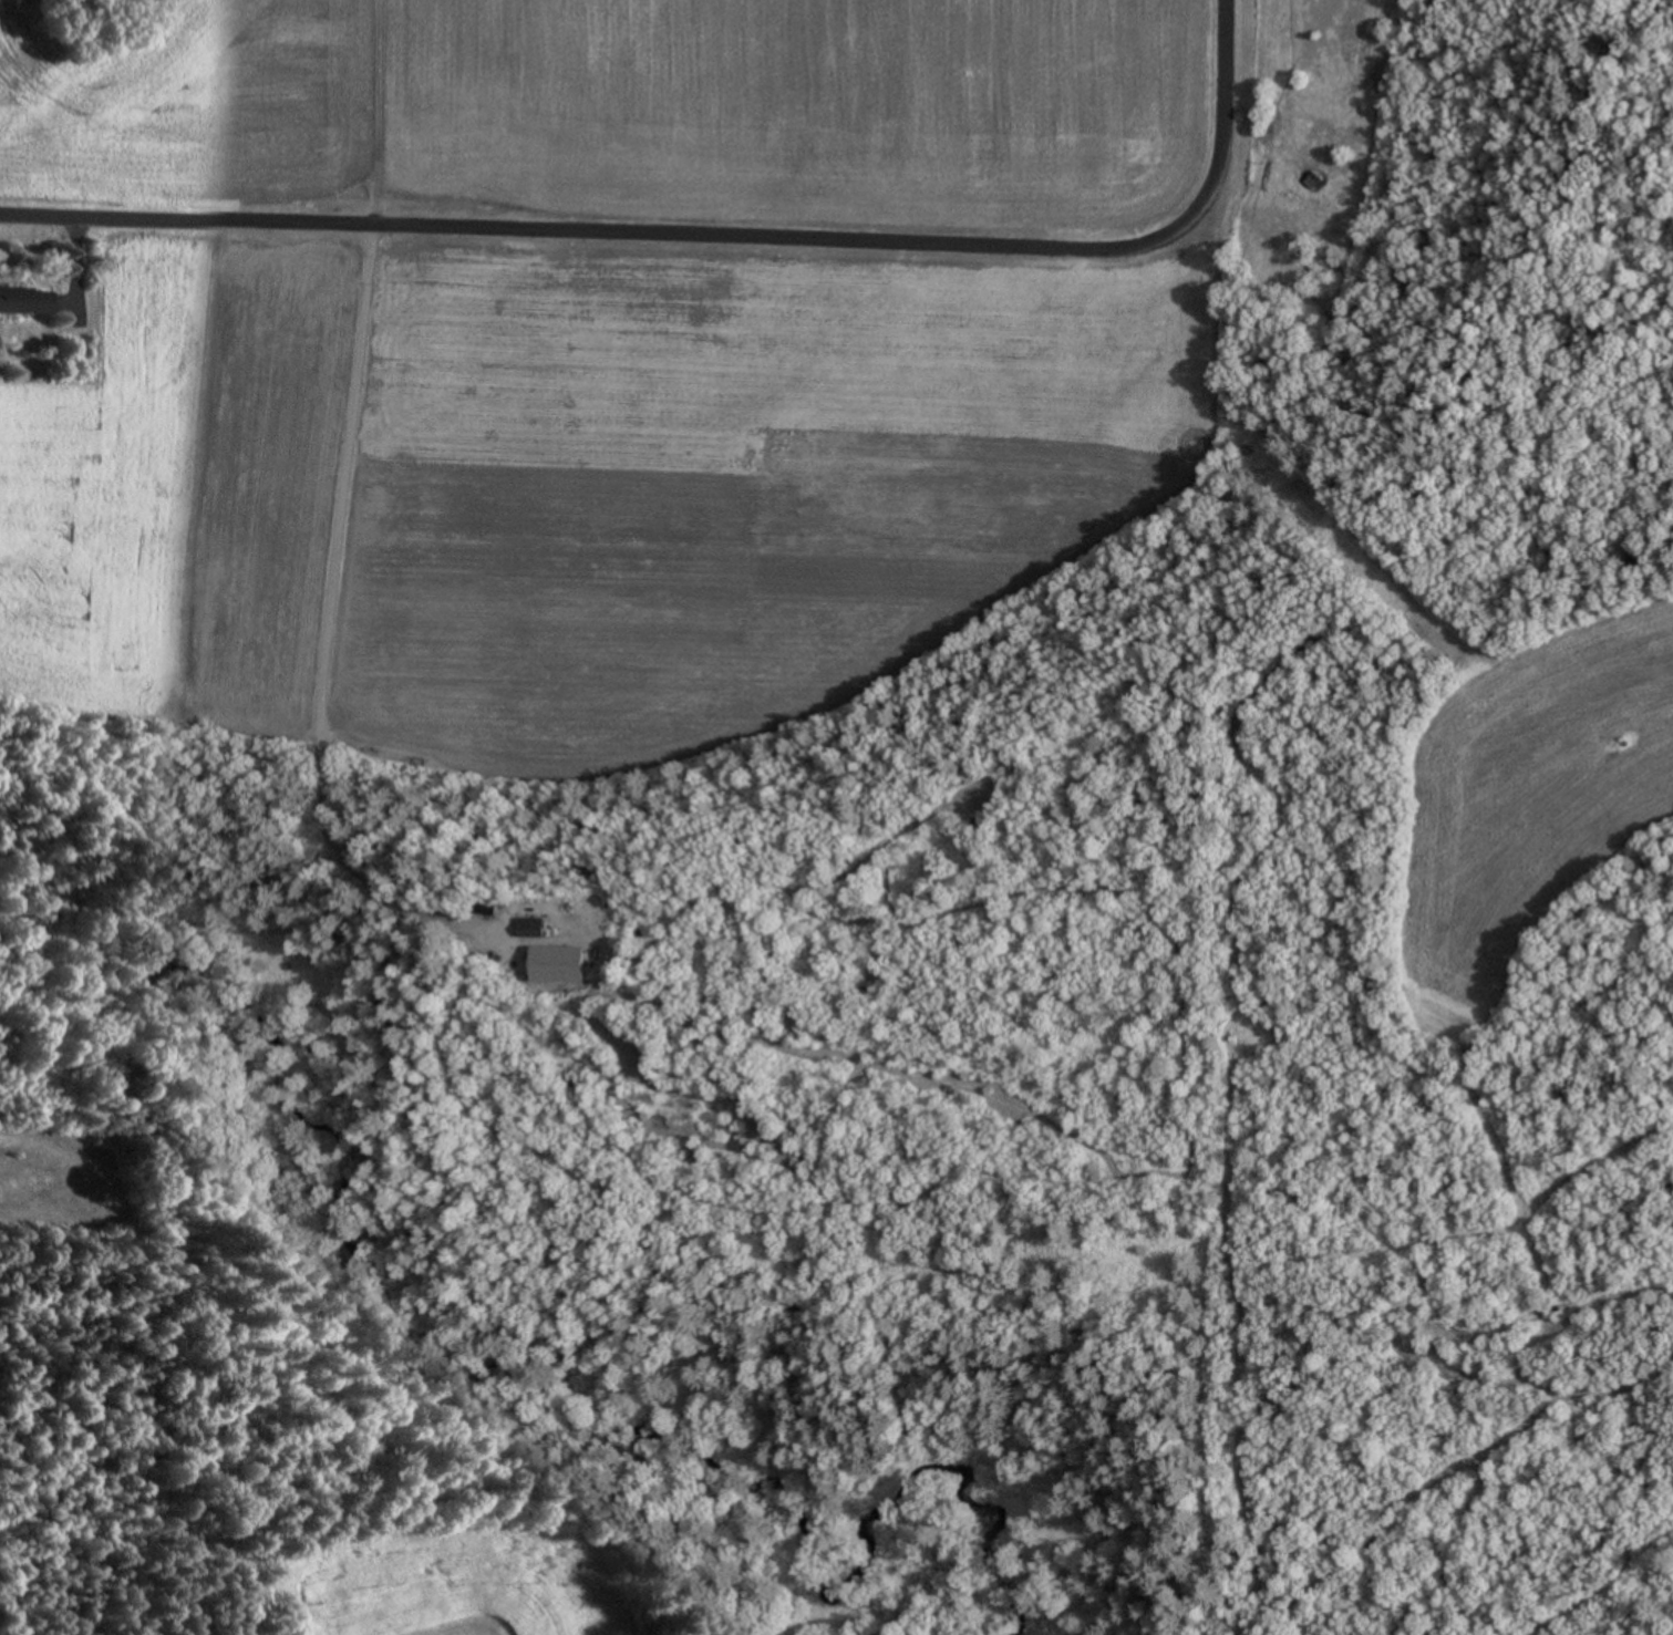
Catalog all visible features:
road: (711, 236)
building: (25, 299)
road: (343, 488)
road: (357, 870)
building: (528, 927)

